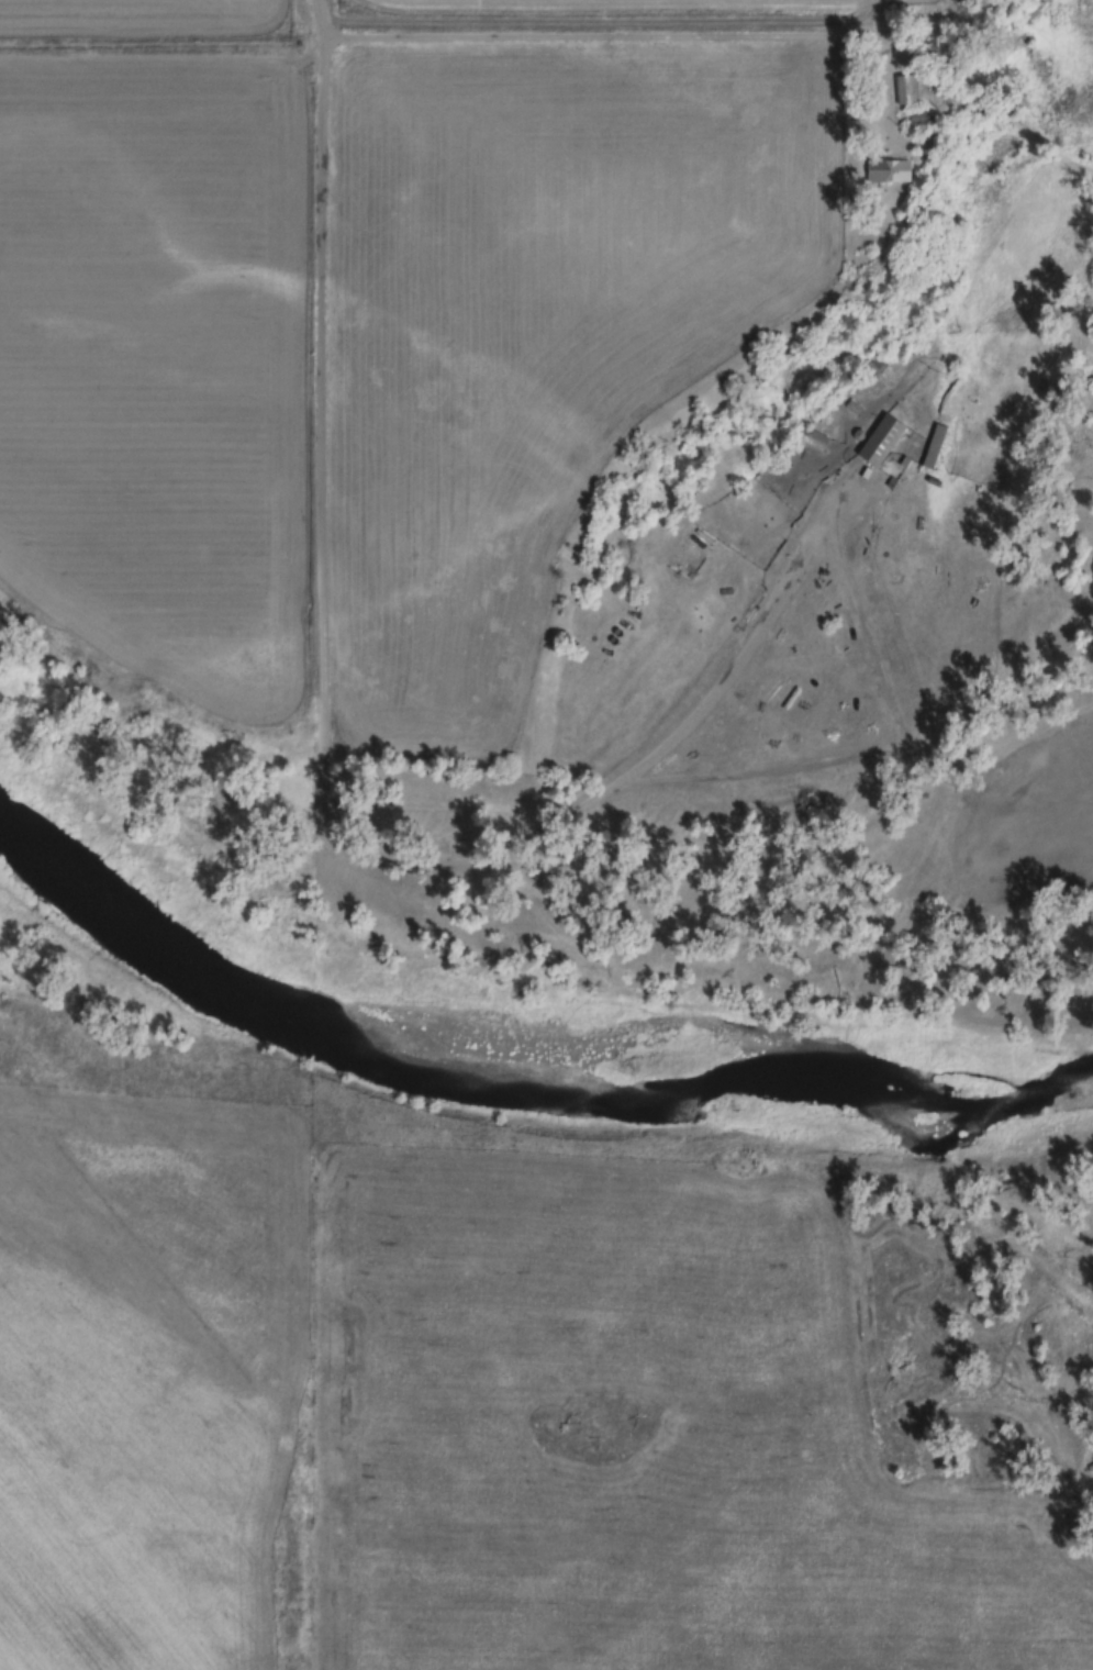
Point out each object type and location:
road: (319, 7)
building: (904, 90)
building: (915, 121)
building: (885, 172)
building: (852, 408)
building: (808, 434)
building: (879, 442)
building: (932, 447)
building: (903, 463)
building: (865, 474)
building: (933, 483)
road: (323, 731)
river: (523, 1078)

